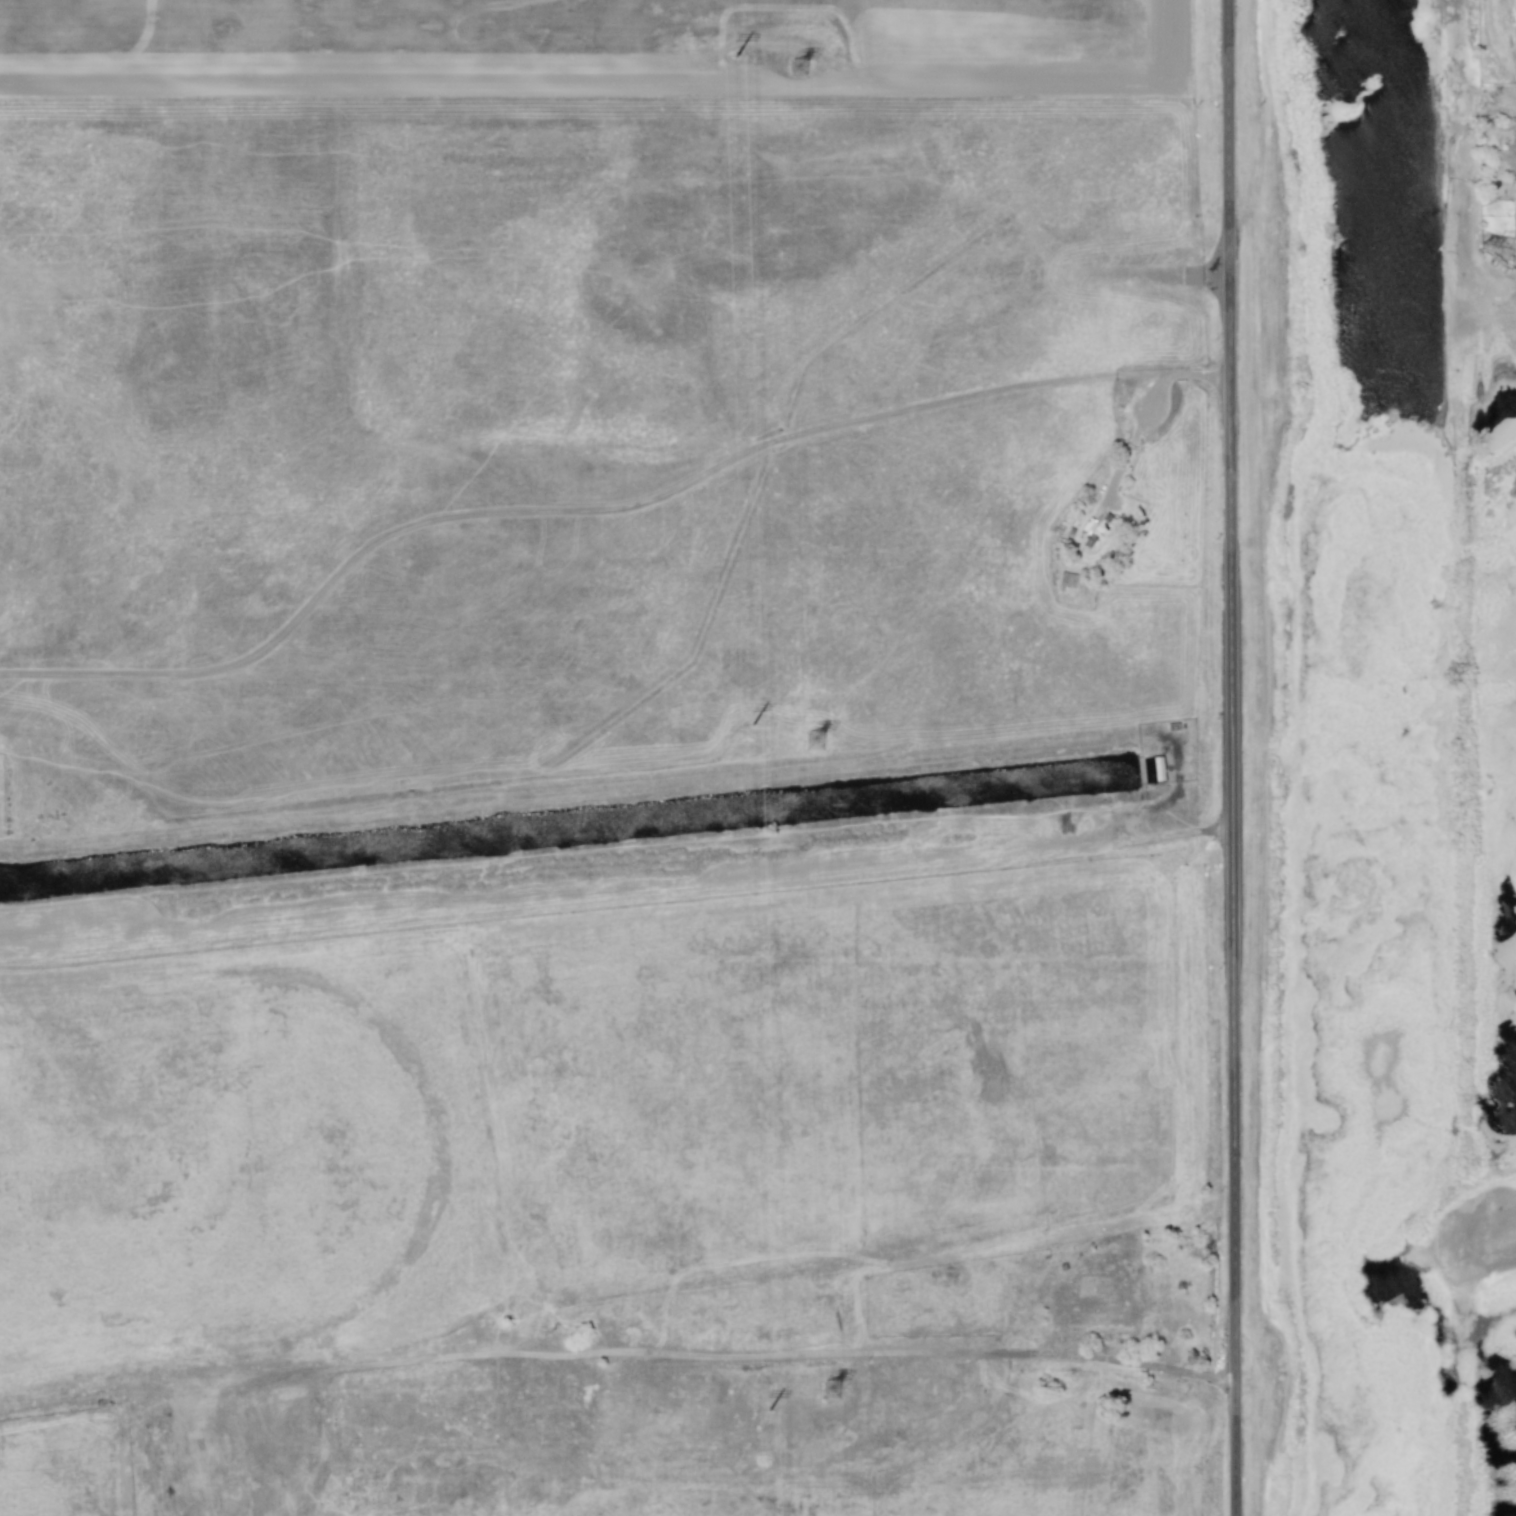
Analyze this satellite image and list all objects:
road: (1463, 51)
power tower: (801, 71)
road: (1490, 102)
road: (1143, 405)
road: (570, 508)
building: (1066, 579)
power tower: (818, 743)
road: (1231, 758)
building: (1158, 769)
road: (1469, 809)
power tower: (835, 1393)

